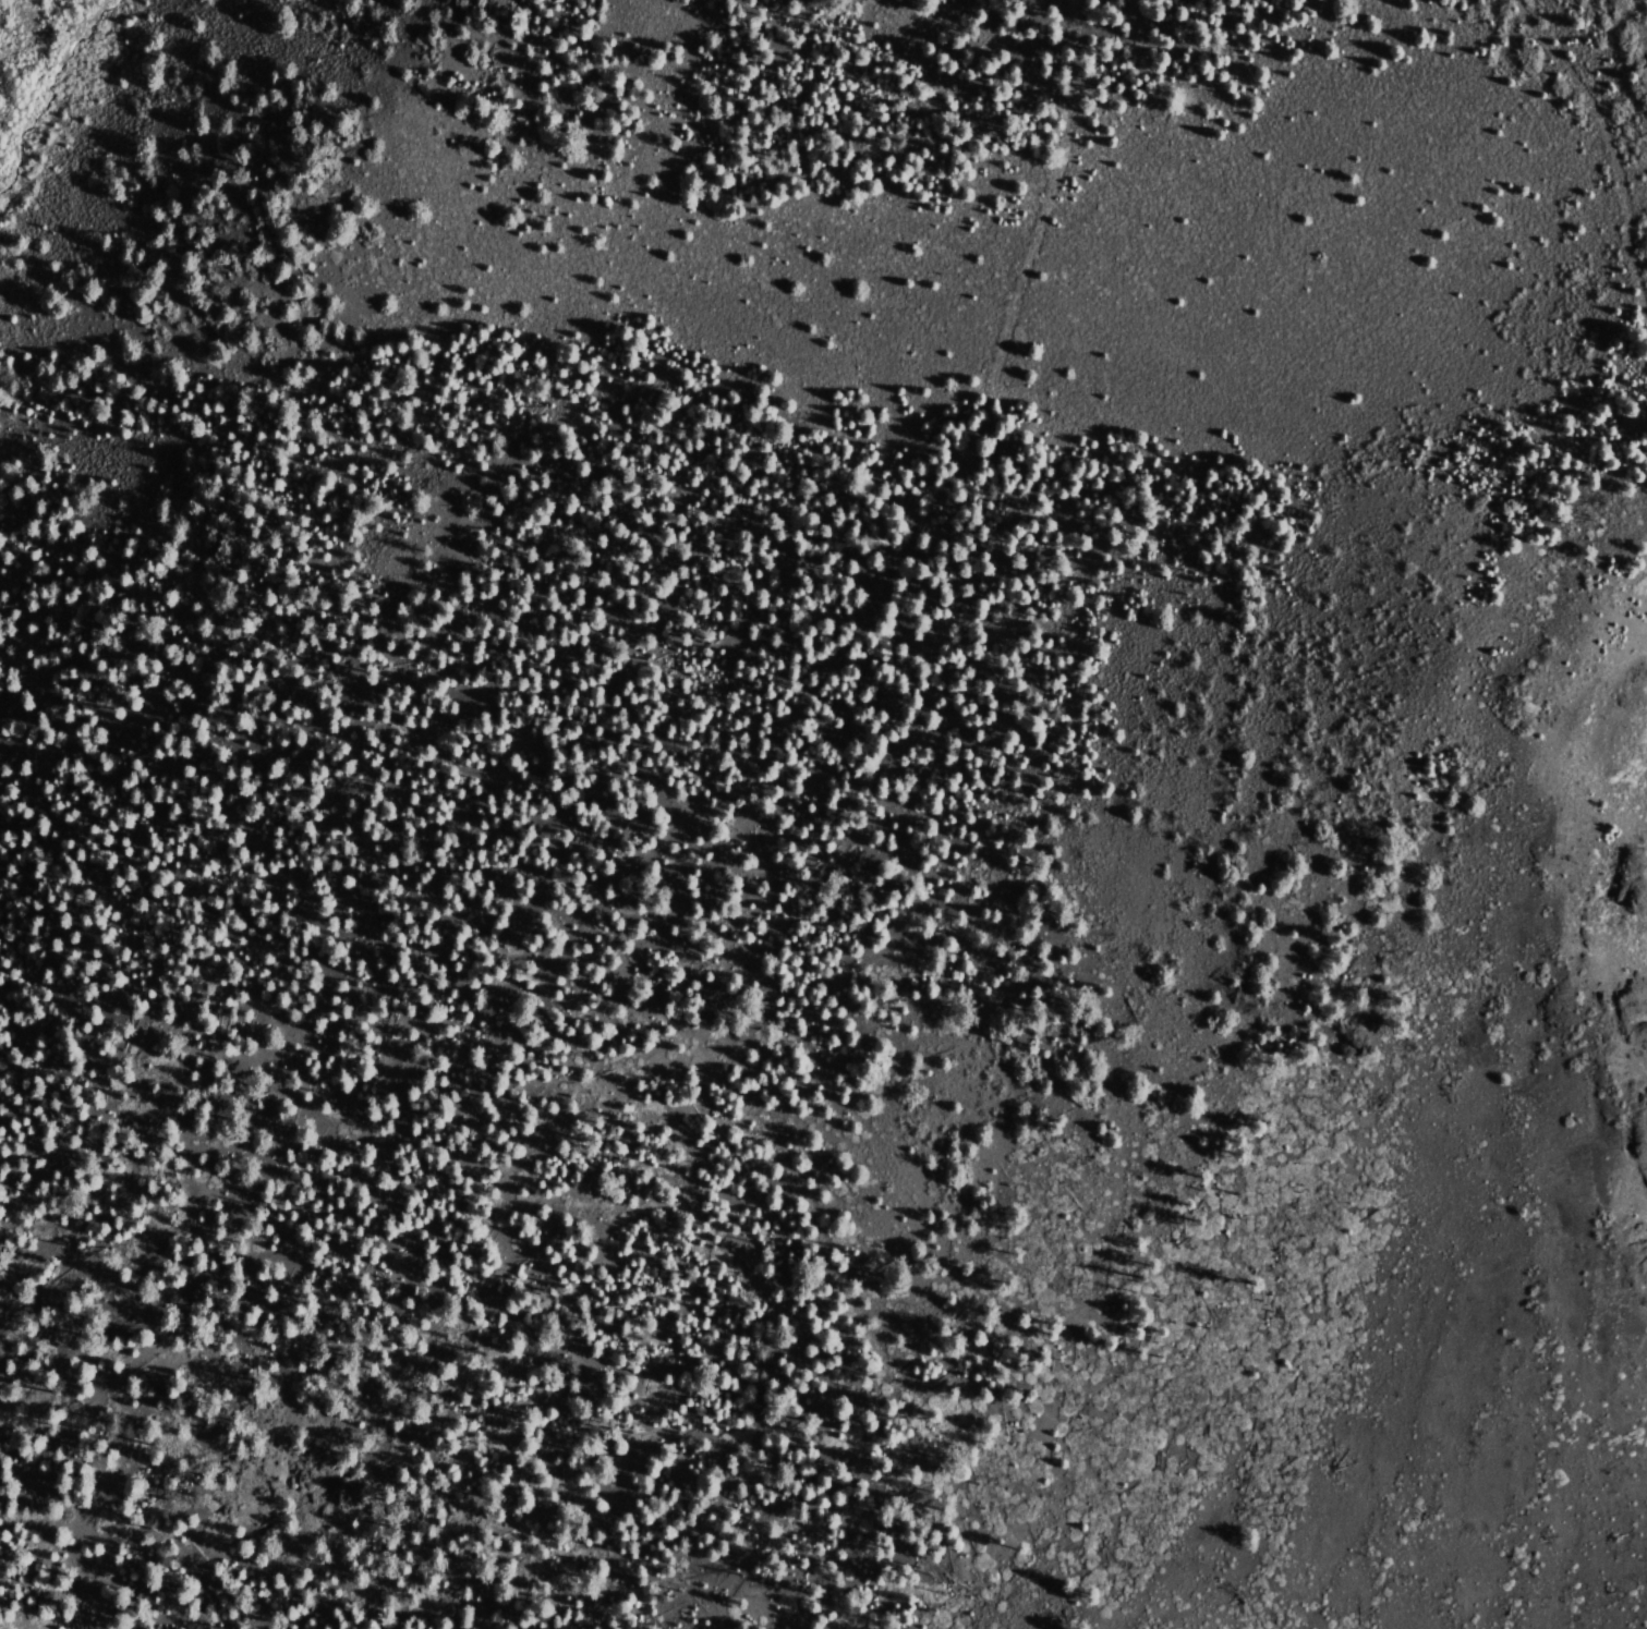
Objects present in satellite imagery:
road: (1609, 158)

